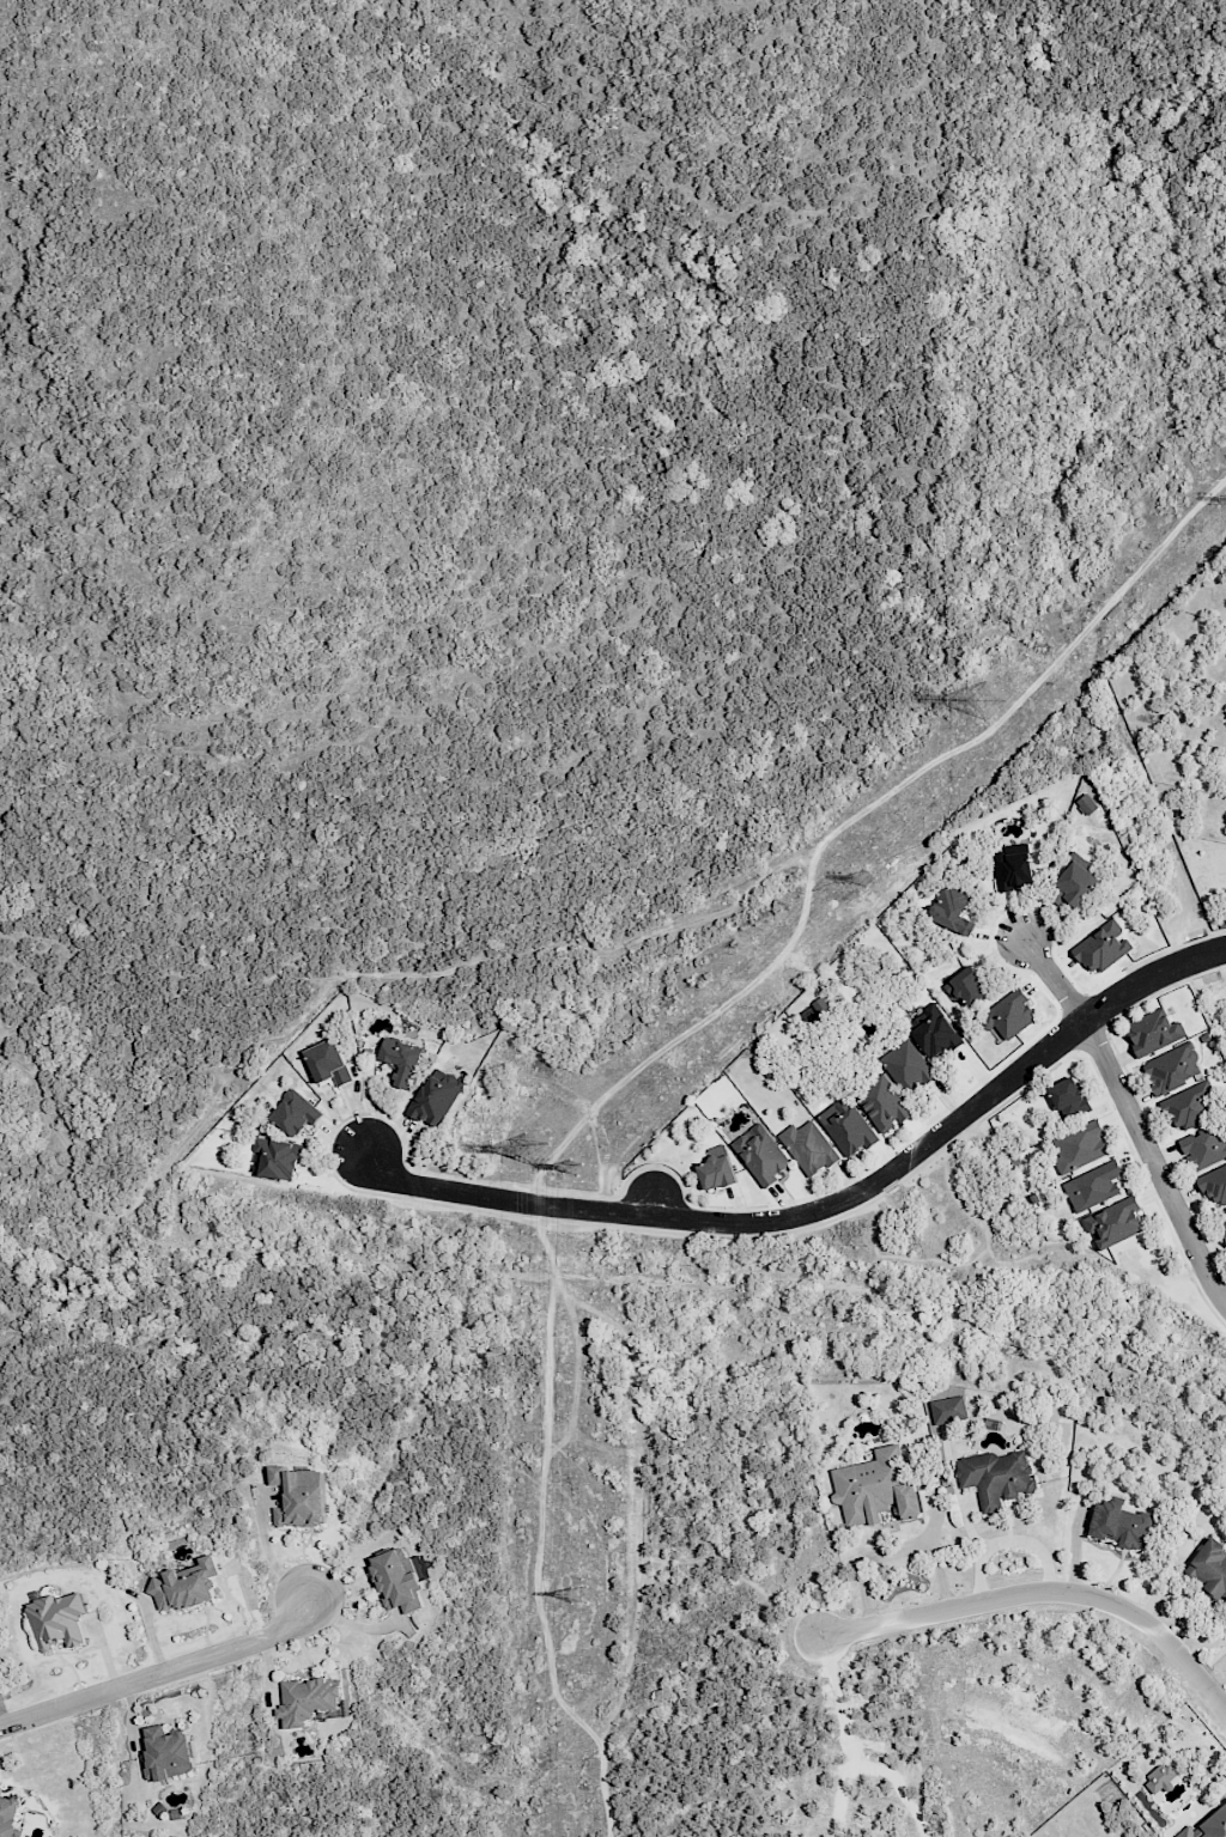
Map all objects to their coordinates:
power tower: (997, 697)
building: (1086, 804)
road: (858, 809)
building: (1012, 870)
power tower: (866, 876)
building: (1076, 883)
building: (952, 908)
building: (1103, 947)
building: (967, 986)
building: (820, 1006)
building: (1009, 1015)
building: (933, 1032)
building: (1153, 1032)
building: (401, 1060)
building: (328, 1063)
building: (908, 1066)
building: (1172, 1069)
building: (1067, 1094)
building: (435, 1096)
building: (882, 1103)
building: (1189, 1106)
building: (295, 1113)
road: (1133, 1119)
building: (846, 1126)
power tower: (530, 1143)
building: (1079, 1145)
building: (808, 1146)
building: (1204, 1148)
building: (760, 1154)
building: (278, 1157)
power tower: (575, 1169)
building: (716, 1172)
building: (1214, 1185)
building: (1093, 1186)
road: (653, 1203)
road: (827, 1208)
building: (1113, 1222)
building: (948, 1410)
building: (996, 1476)
building: (874, 1488)
building: (299, 1496)
building: (1121, 1523)
road: (539, 1543)
road: (977, 1546)
road: (1031, 1546)
building: (1209, 1568)
building: (399, 1580)
building: (186, 1584)
road: (1043, 1590)
power tower: (578, 1596)
building: (56, 1617)
road: (359, 1622)
road: (698, 1625)
road: (159, 1671)
building: (308, 1701)
building: (168, 1752)
building: (1160, 1777)
building: (8, 1815)
building: (1208, 1826)

